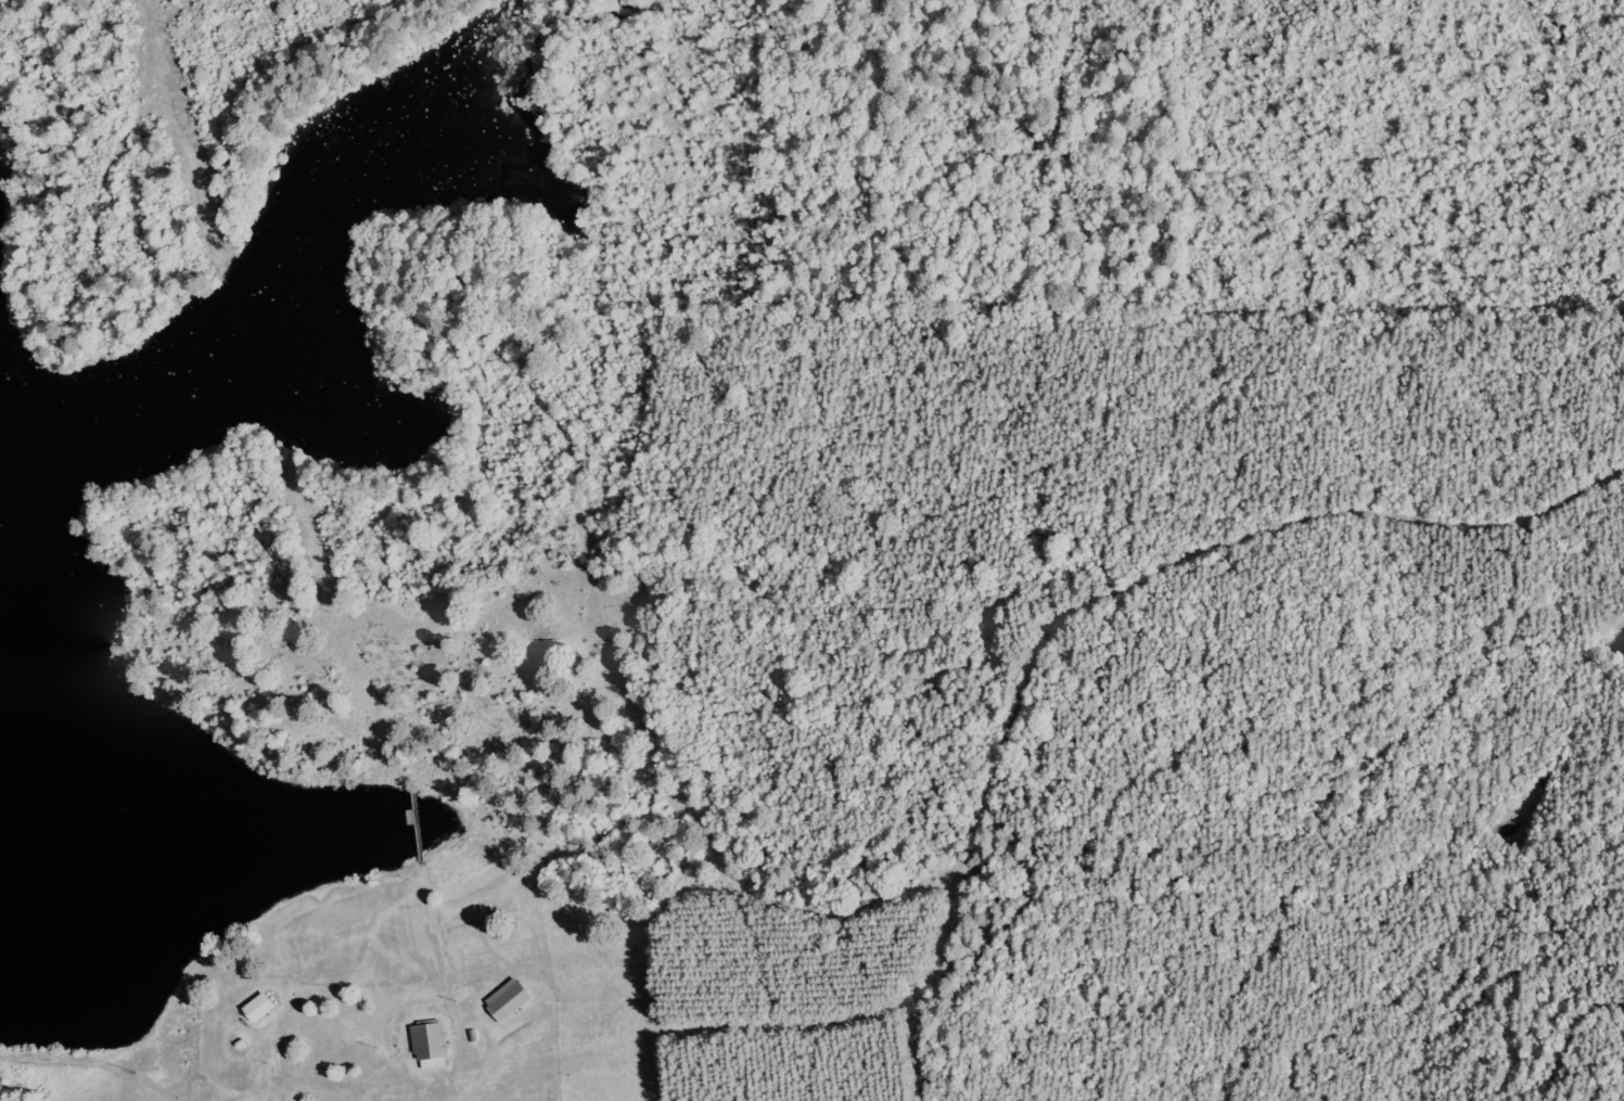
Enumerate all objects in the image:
road: (89, 1062)
road: (307, 1089)
road: (290, 1093)

